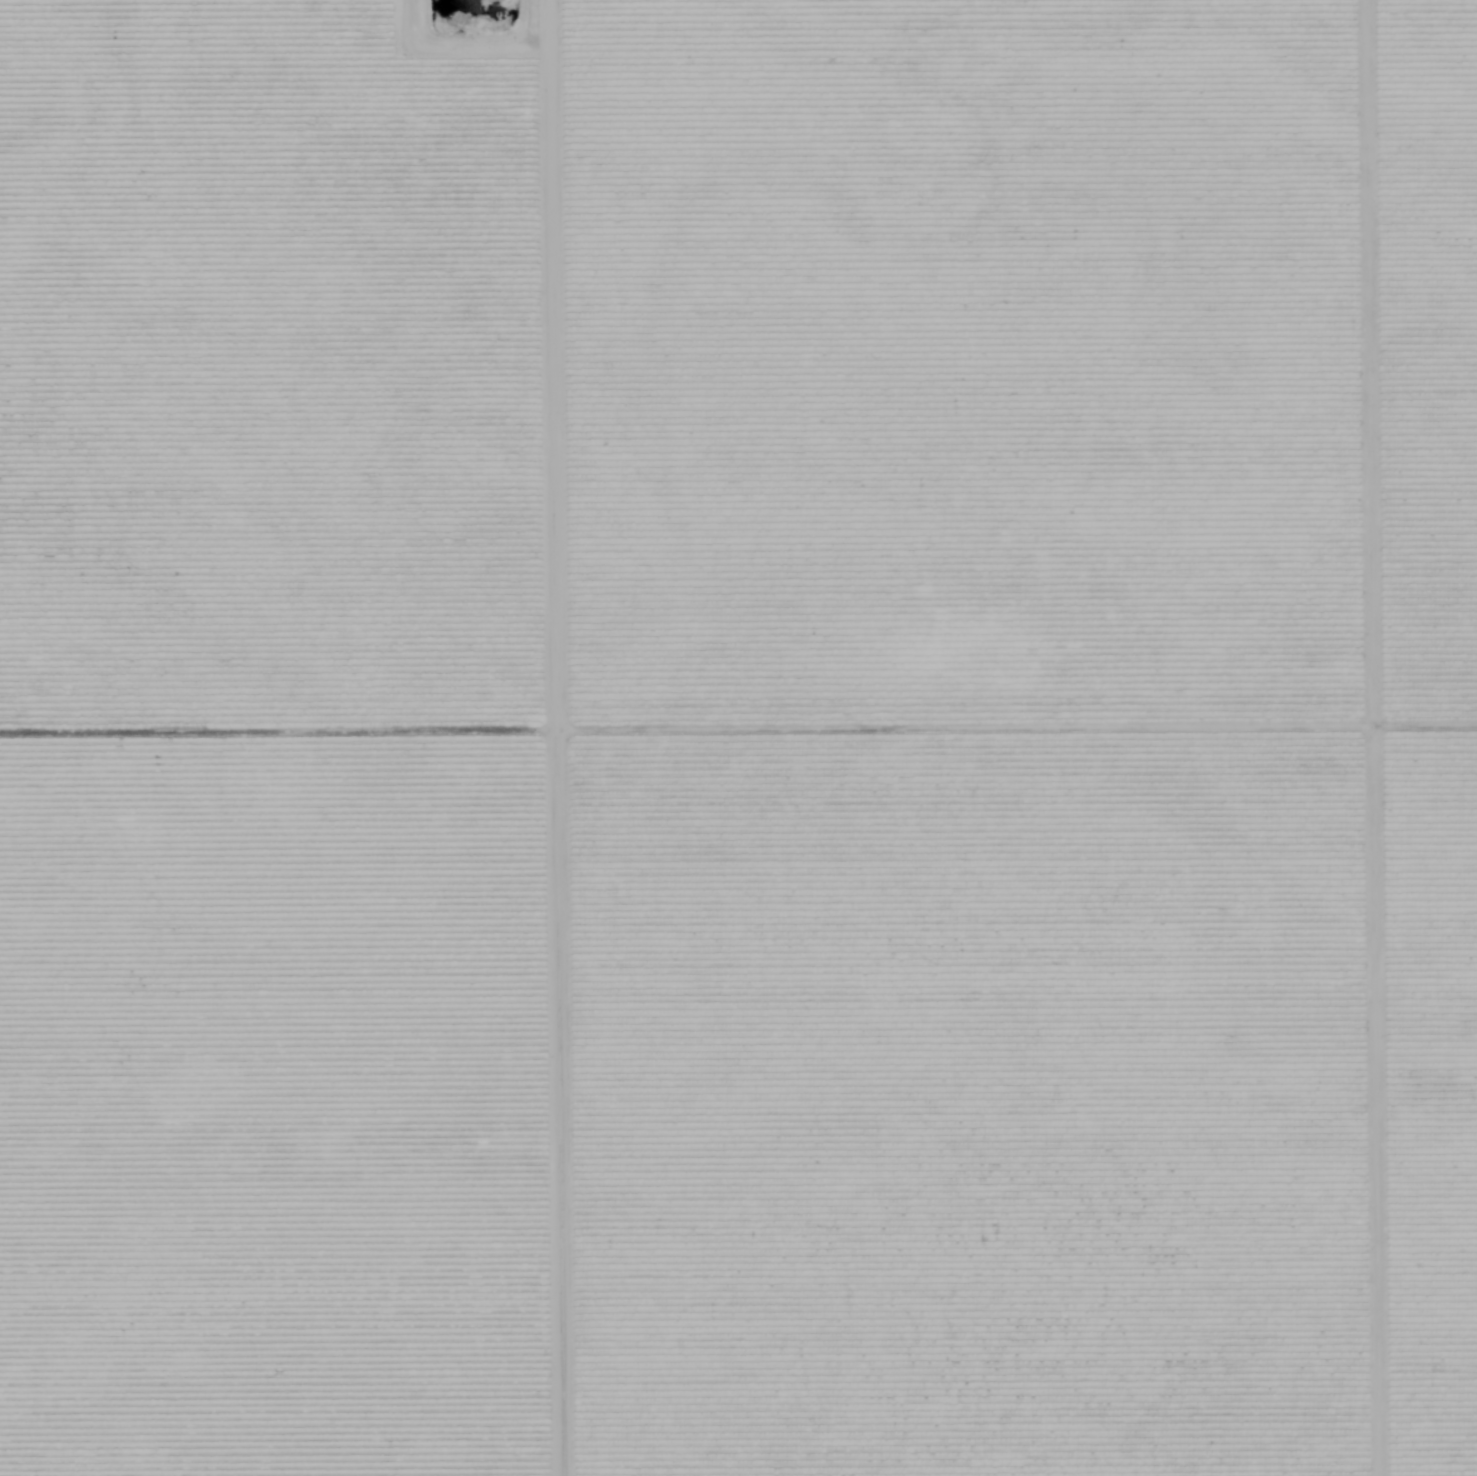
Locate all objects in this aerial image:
road: (558, 354)
road: (738, 712)

